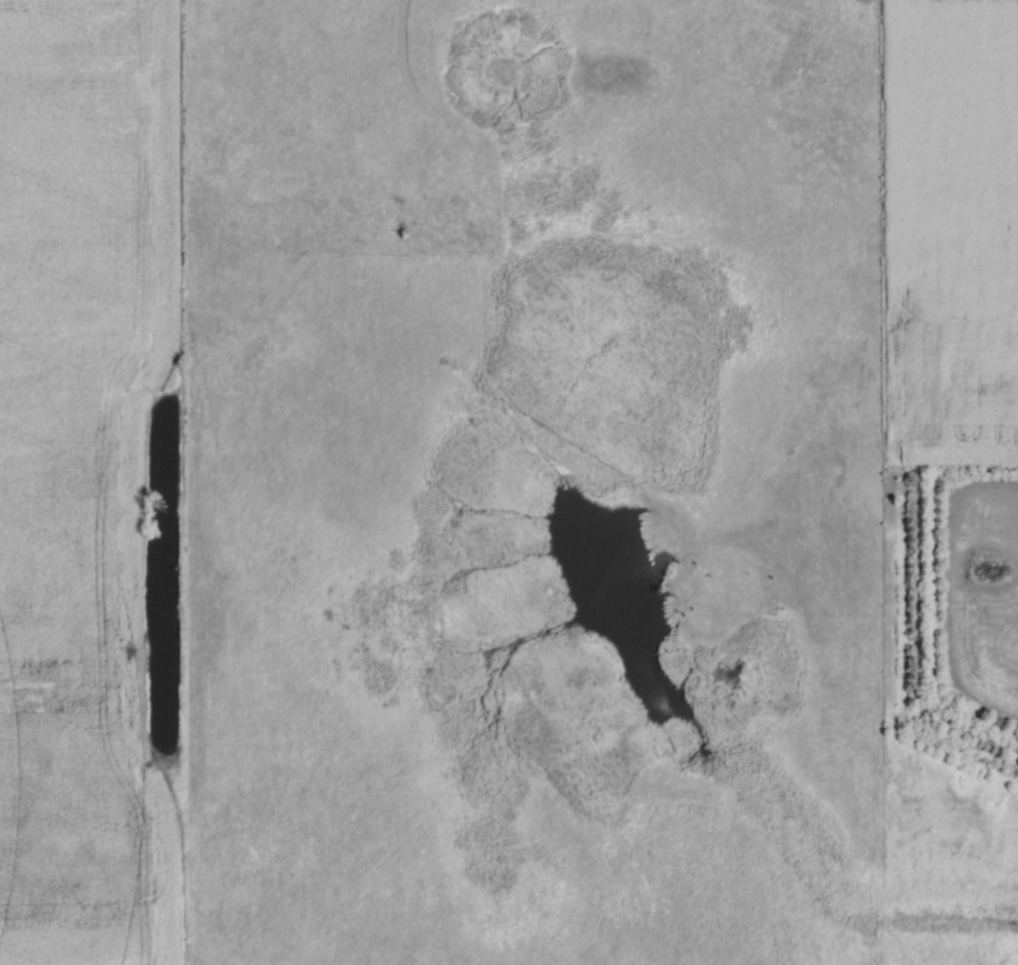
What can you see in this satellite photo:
building: (985, 349)

